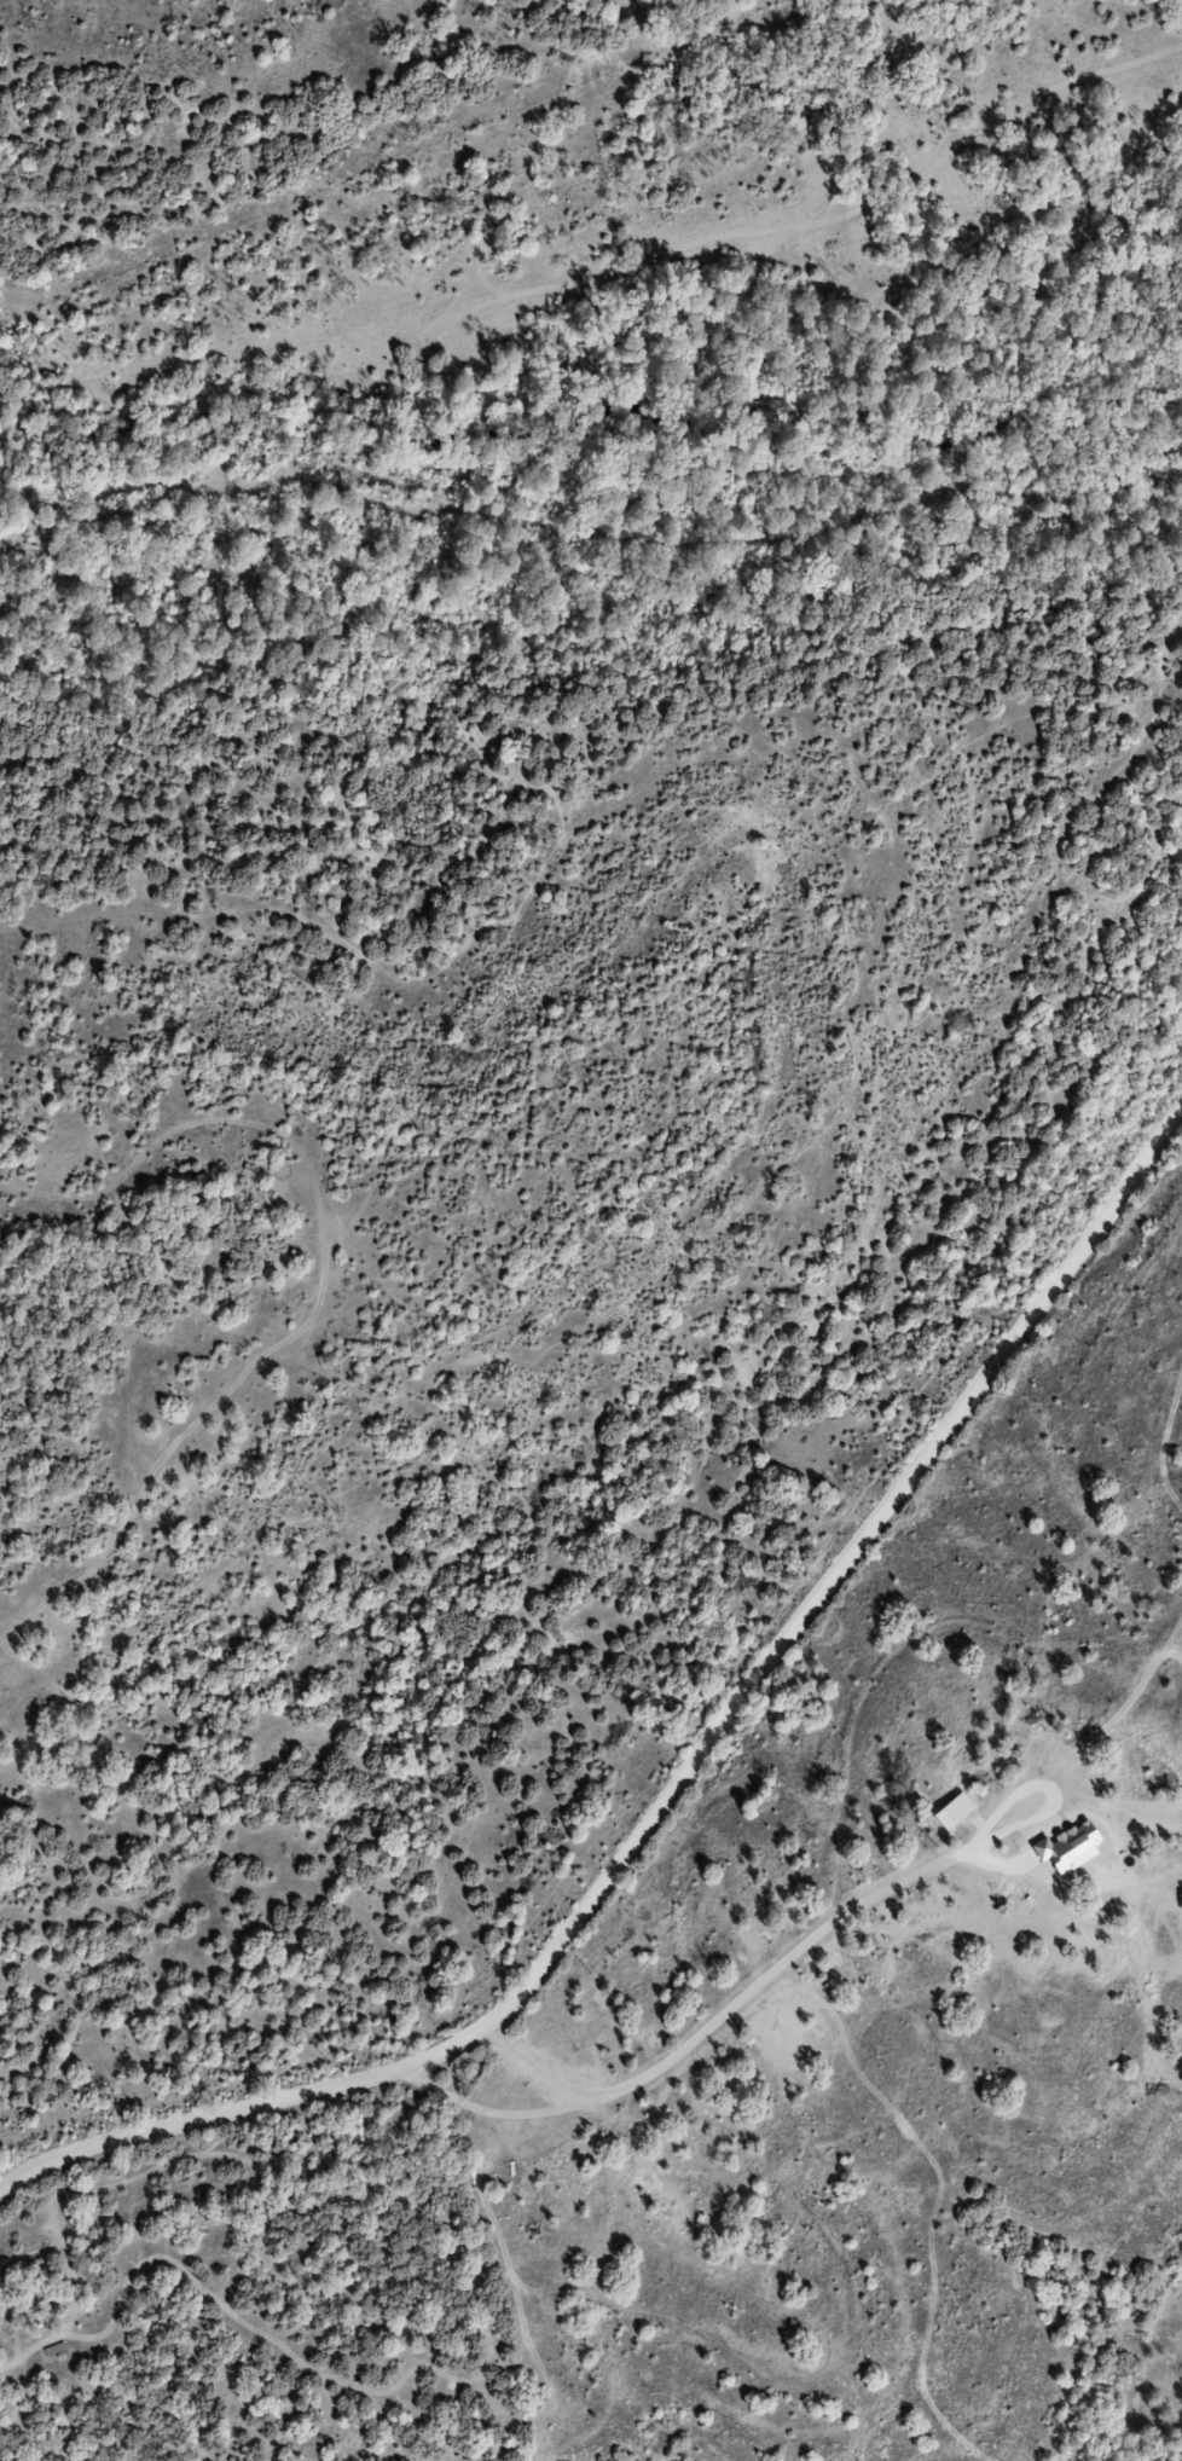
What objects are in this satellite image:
road: (685, 1765)

